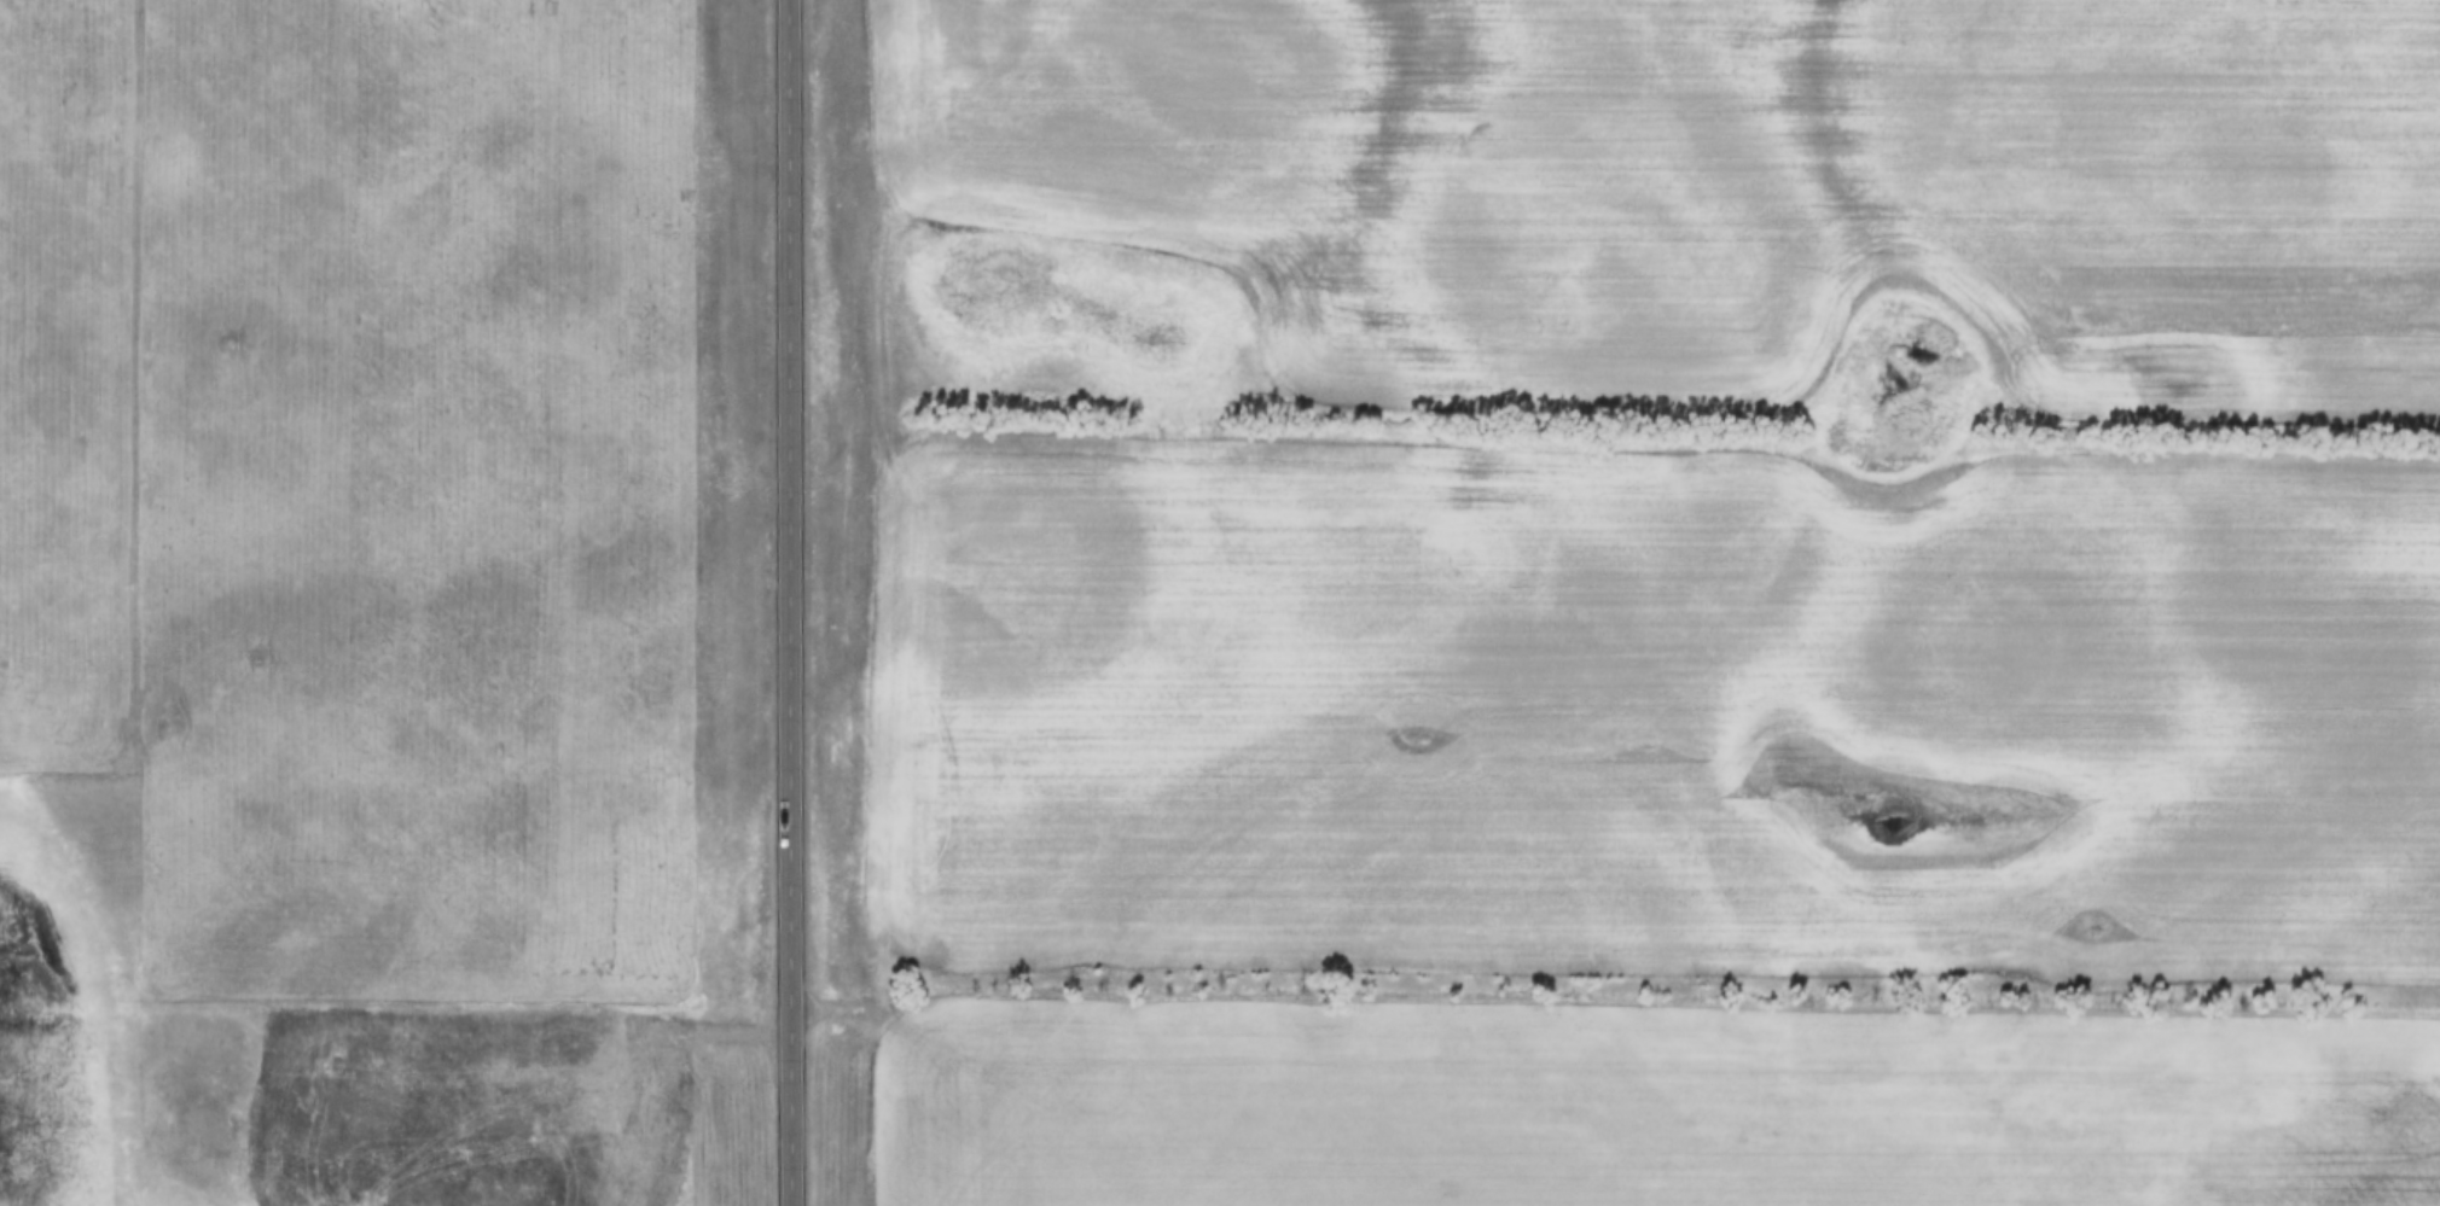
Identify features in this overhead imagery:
road: (792, 602)

